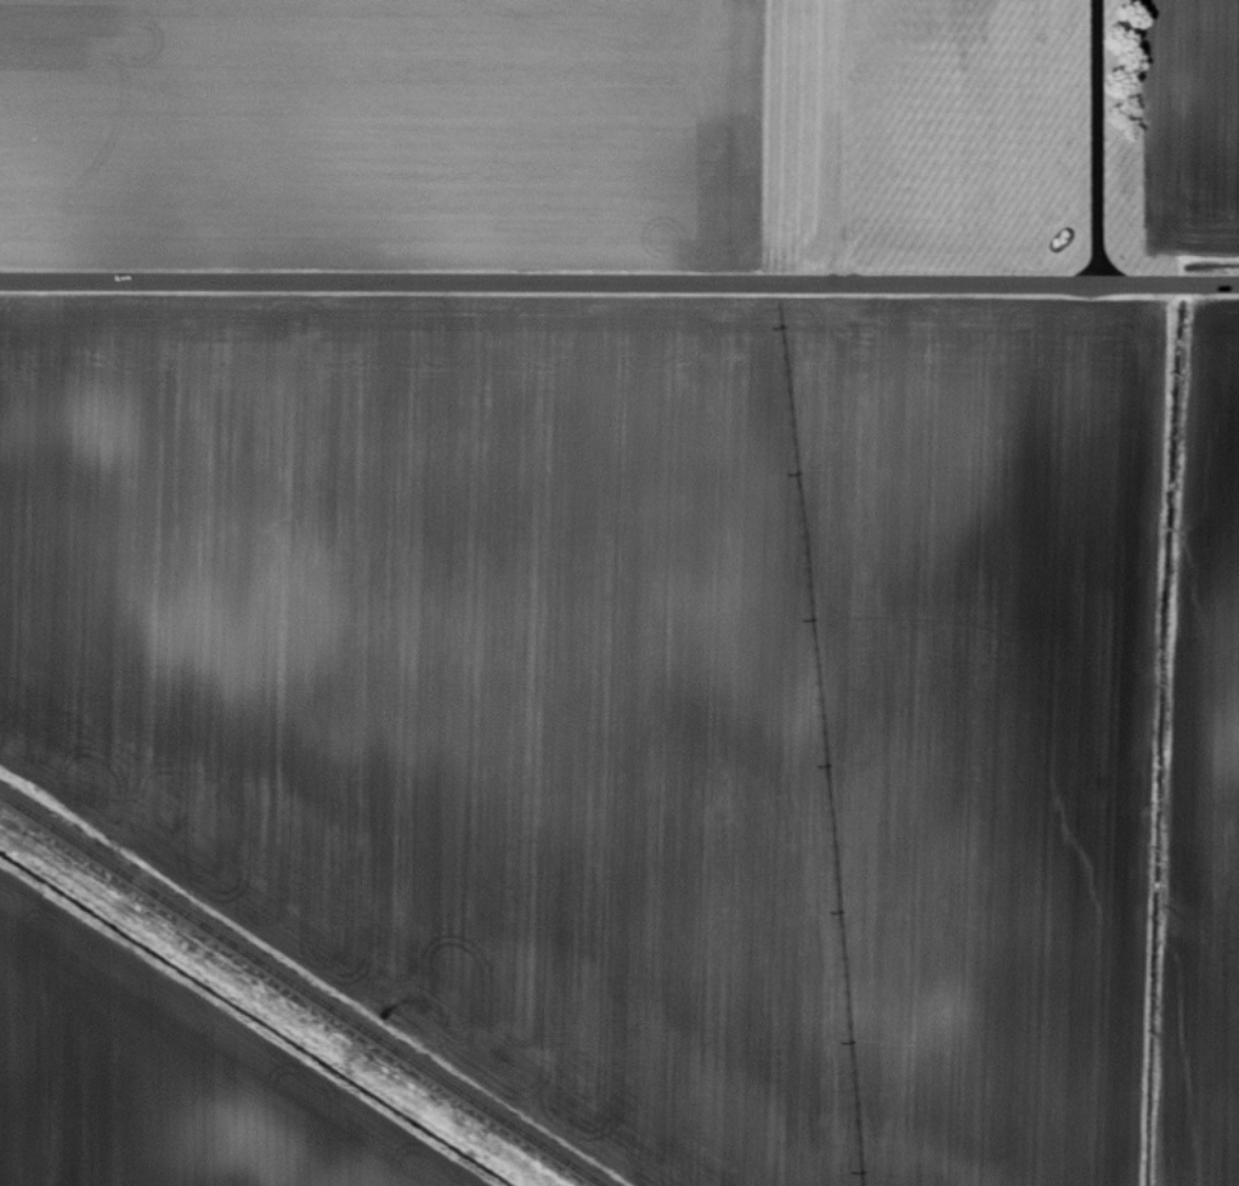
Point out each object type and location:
road: (1094, 140)
road: (854, 141)
road: (619, 283)
railway: (301, 989)

